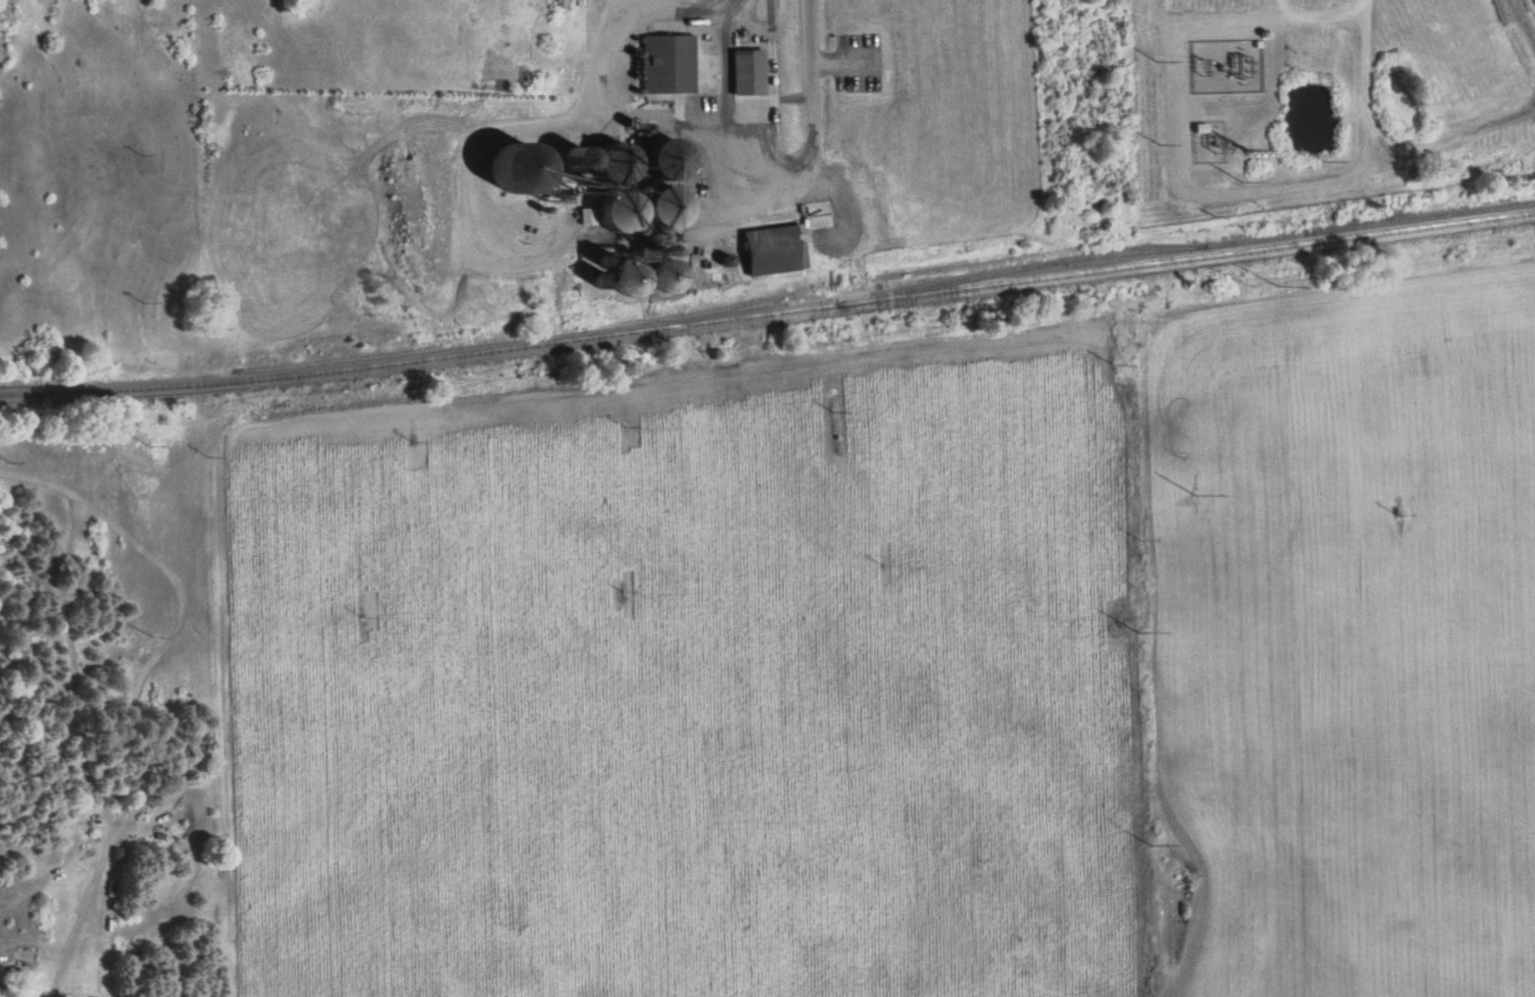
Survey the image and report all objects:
power substation: (1220, 58)
building: (668, 62)
building: (748, 70)
road: (811, 115)
power substation: (1204, 140)
building: (664, 158)
building: (619, 161)
building: (618, 209)
building: (774, 249)
railway: (1024, 265)
railway: (882, 273)
building: (667, 280)
railway: (768, 312)

